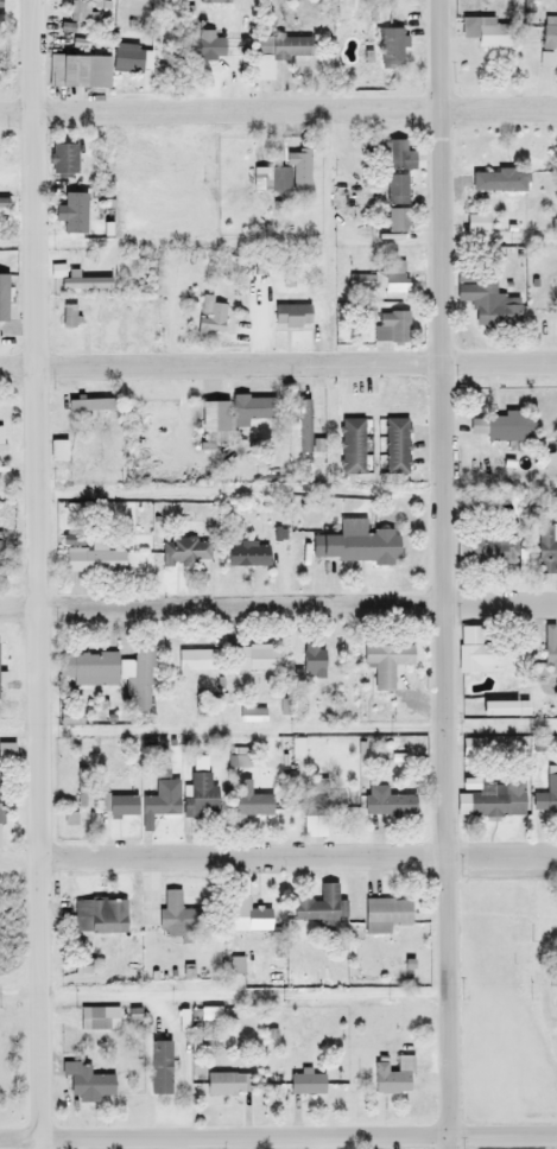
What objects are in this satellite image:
building: (302, 5)
building: (343, 9)
building: (81, 12)
building: (485, 32)
building: (547, 42)
building: (391, 47)
building: (209, 49)
building: (277, 52)
building: (126, 61)
building: (171, 66)
building: (76, 71)
road: (499, 106)
road: (220, 108)
building: (400, 155)
building: (63, 160)
building: (285, 176)
building: (500, 180)
building: (397, 190)
building: (69, 210)
building: (397, 224)
building: (391, 274)
building: (83, 281)
building: (487, 301)
building: (68, 316)
building: (211, 317)
building: (291, 317)
building: (392, 326)
road: (278, 364)
building: (90, 405)
building: (234, 413)
building: (303, 426)
building: (499, 426)
building: (353, 446)
building: (395, 446)
building: (355, 544)
building: (0, 547)
building: (546, 548)
building: (493, 551)
building: (184, 552)
building: (247, 554)
building: (95, 560)
road: (444, 573)
road: (36, 574)
road: (278, 607)
building: (550, 649)
building: (482, 654)
building: (255, 658)
building: (196, 661)
building: (314, 661)
building: (385, 664)
building: (88, 669)
building: (137, 675)
building: (489, 709)
building: (252, 715)
building: (471, 748)
building: (5, 751)
building: (201, 792)
building: (546, 794)
building: (498, 799)
building: (163, 800)
building: (249, 801)
building: (387, 804)
building: (119, 805)
building: (316, 808)
road: (297, 857)
building: (317, 908)
building: (387, 915)
building: (100, 916)
building: (245, 916)
building: (178, 918)
building: (160, 1068)
building: (393, 1077)
building: (87, 1084)
building: (227, 1084)
building: (306, 1084)
road: (278, 1135)

